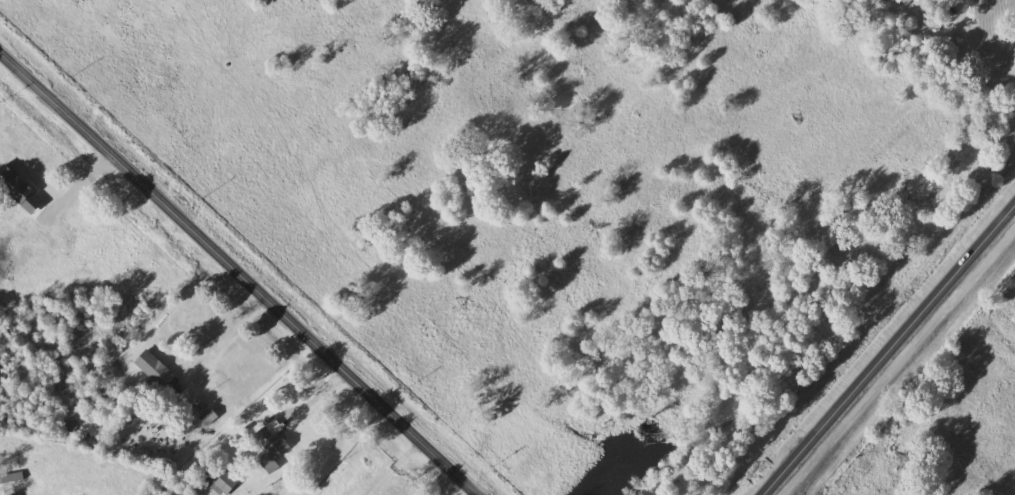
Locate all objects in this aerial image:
building: (909, 1)
road: (996, 59)
road: (76, 185)
road: (242, 274)
road: (890, 352)
building: (159, 372)
road: (320, 392)
building: (210, 415)
building: (273, 441)
road: (394, 466)
building: (12, 476)
building: (221, 480)

